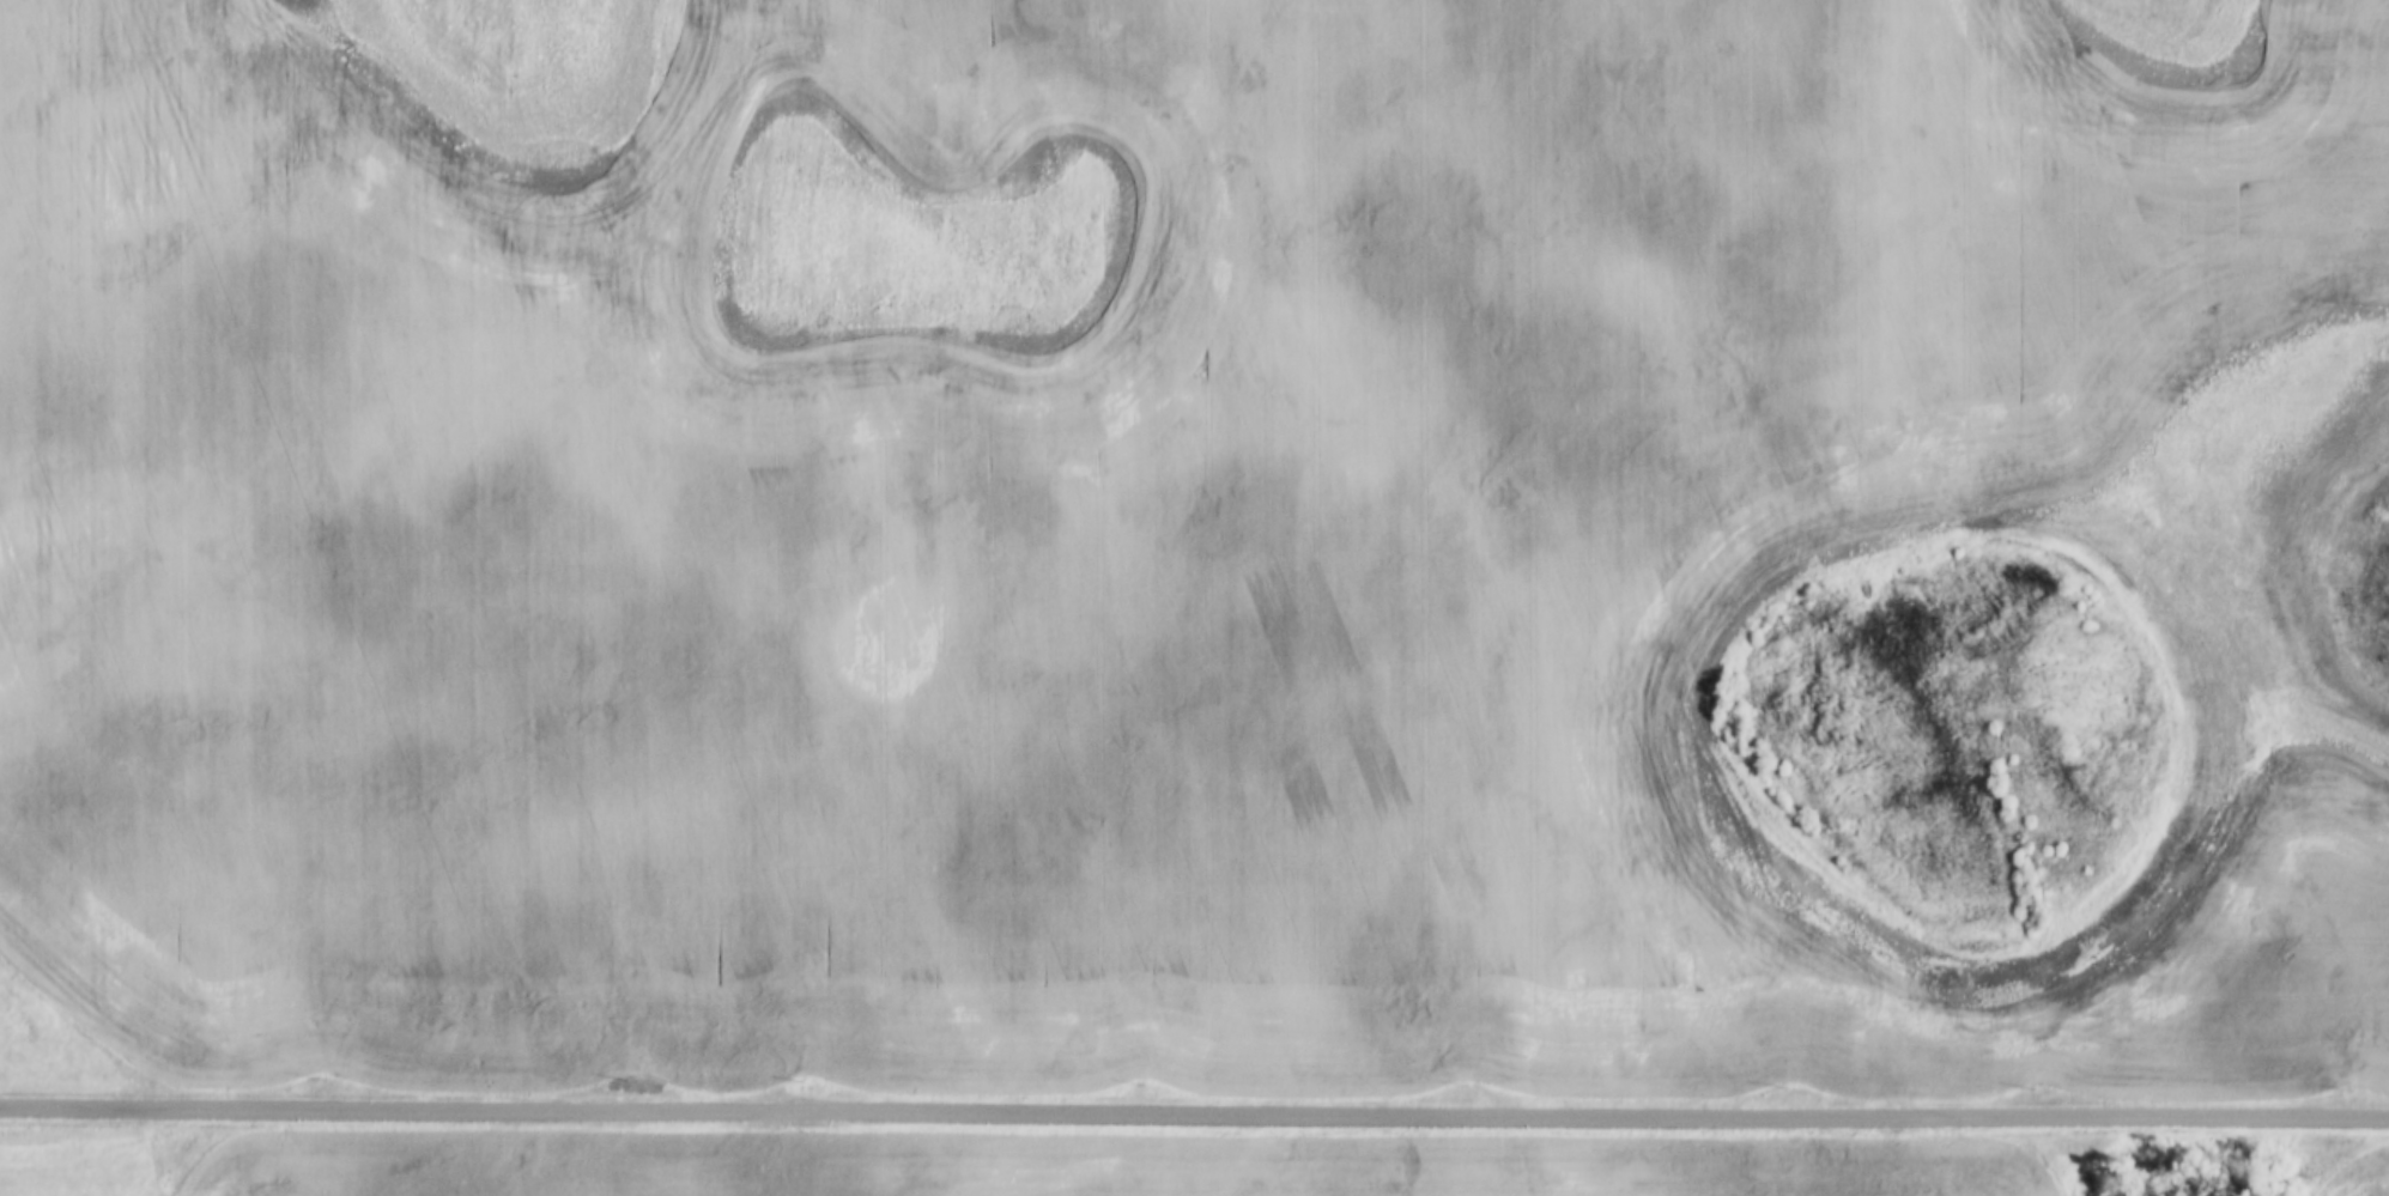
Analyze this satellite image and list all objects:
road: (1194, 1115)

